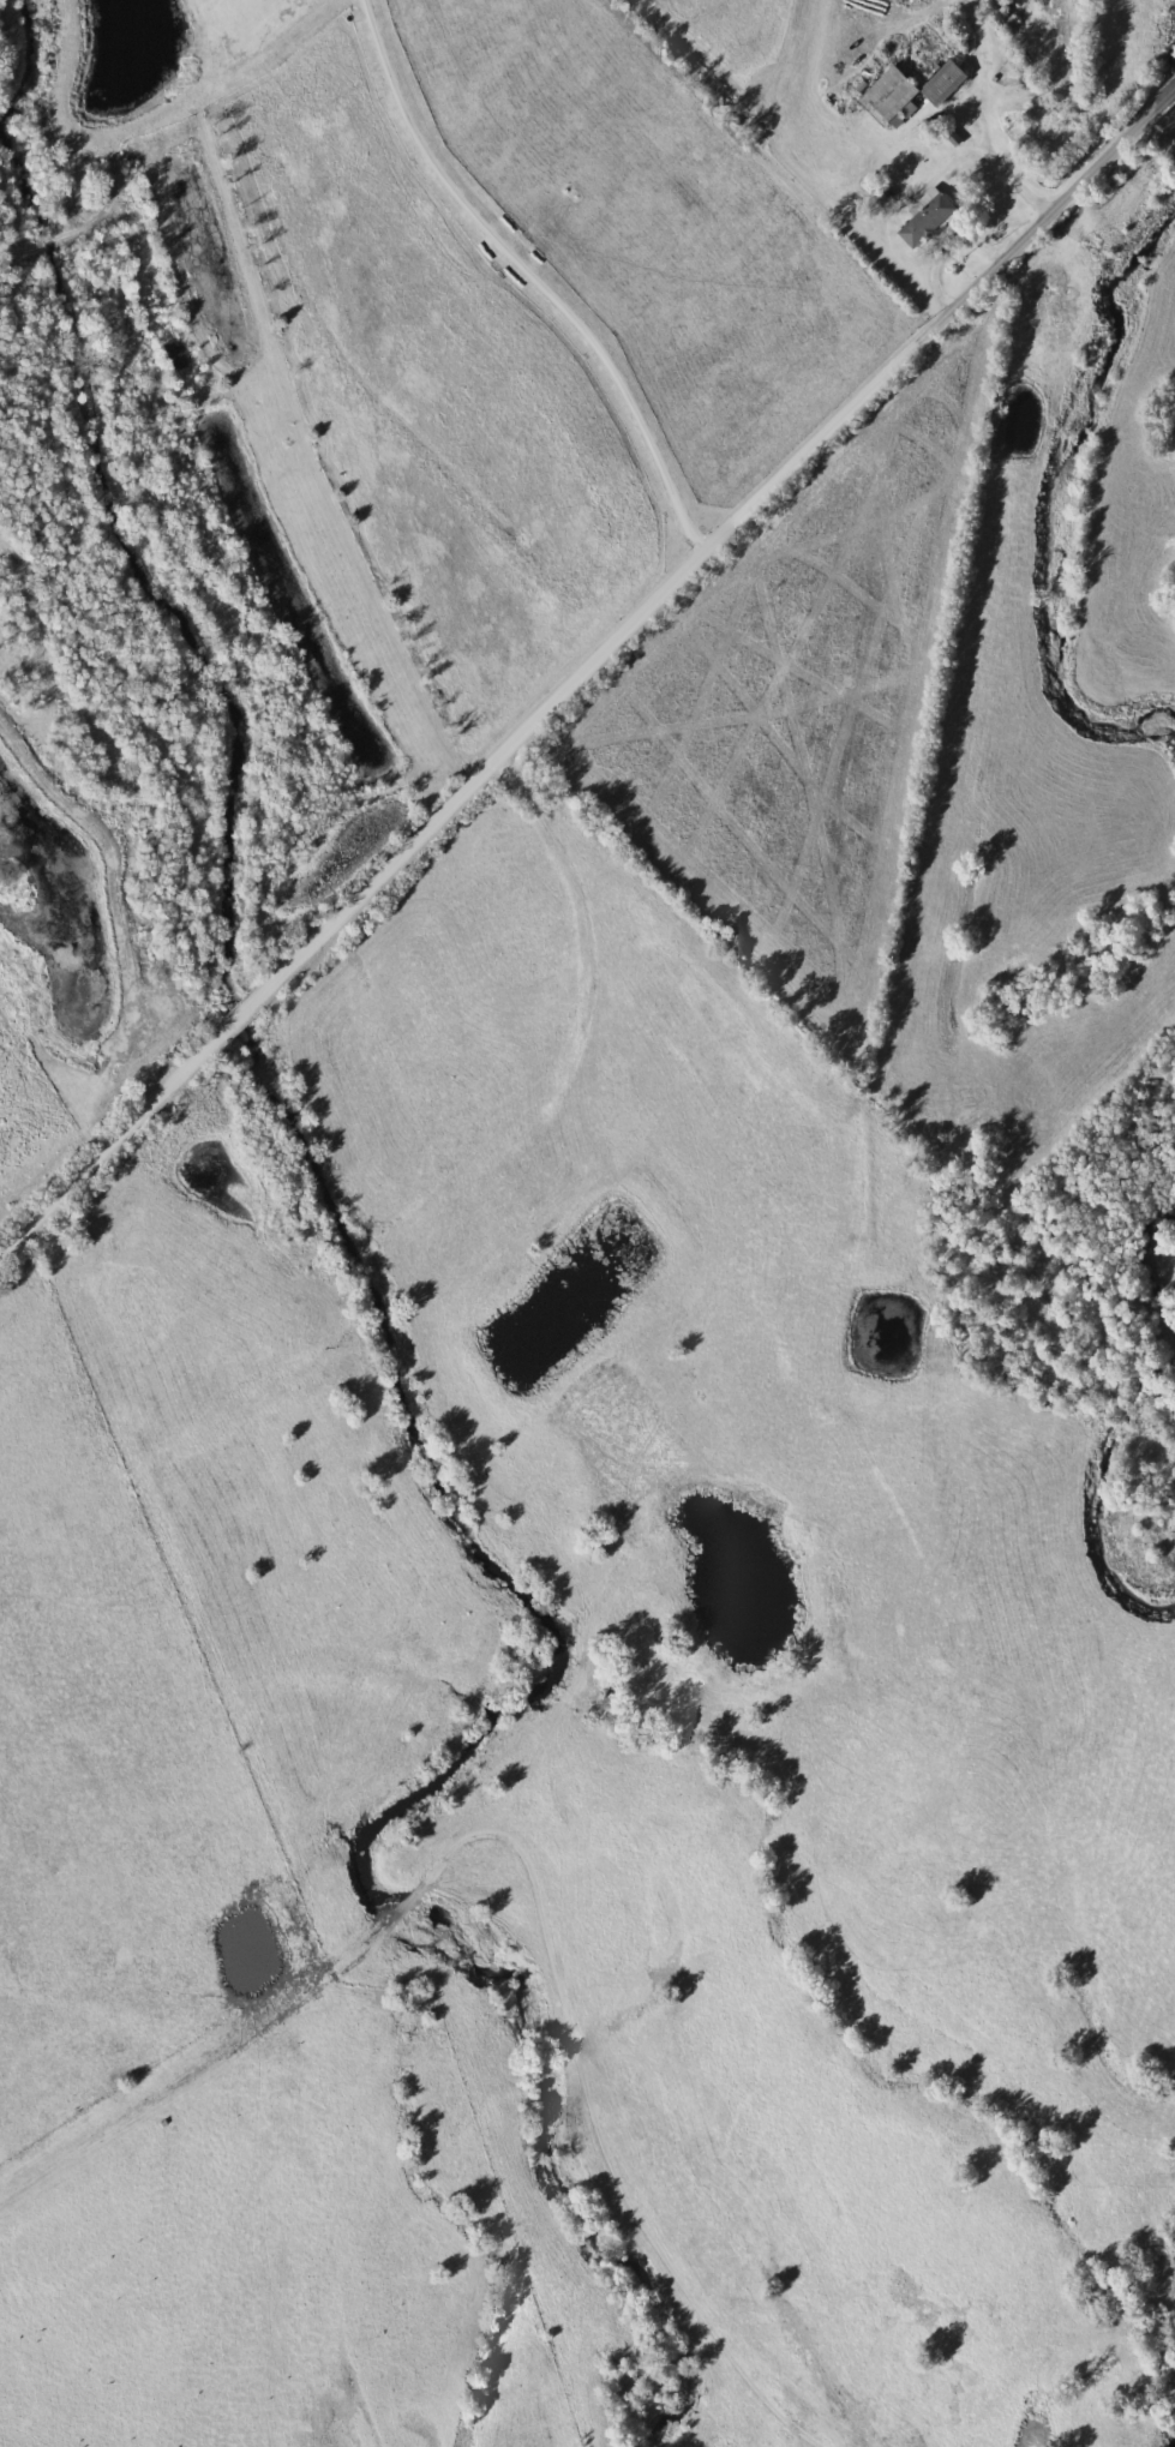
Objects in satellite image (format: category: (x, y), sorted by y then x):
building: (949, 84)
building: (898, 97)
road: (1164, 101)
road: (982, 116)
building: (931, 223)
road: (529, 277)
road: (575, 680)

